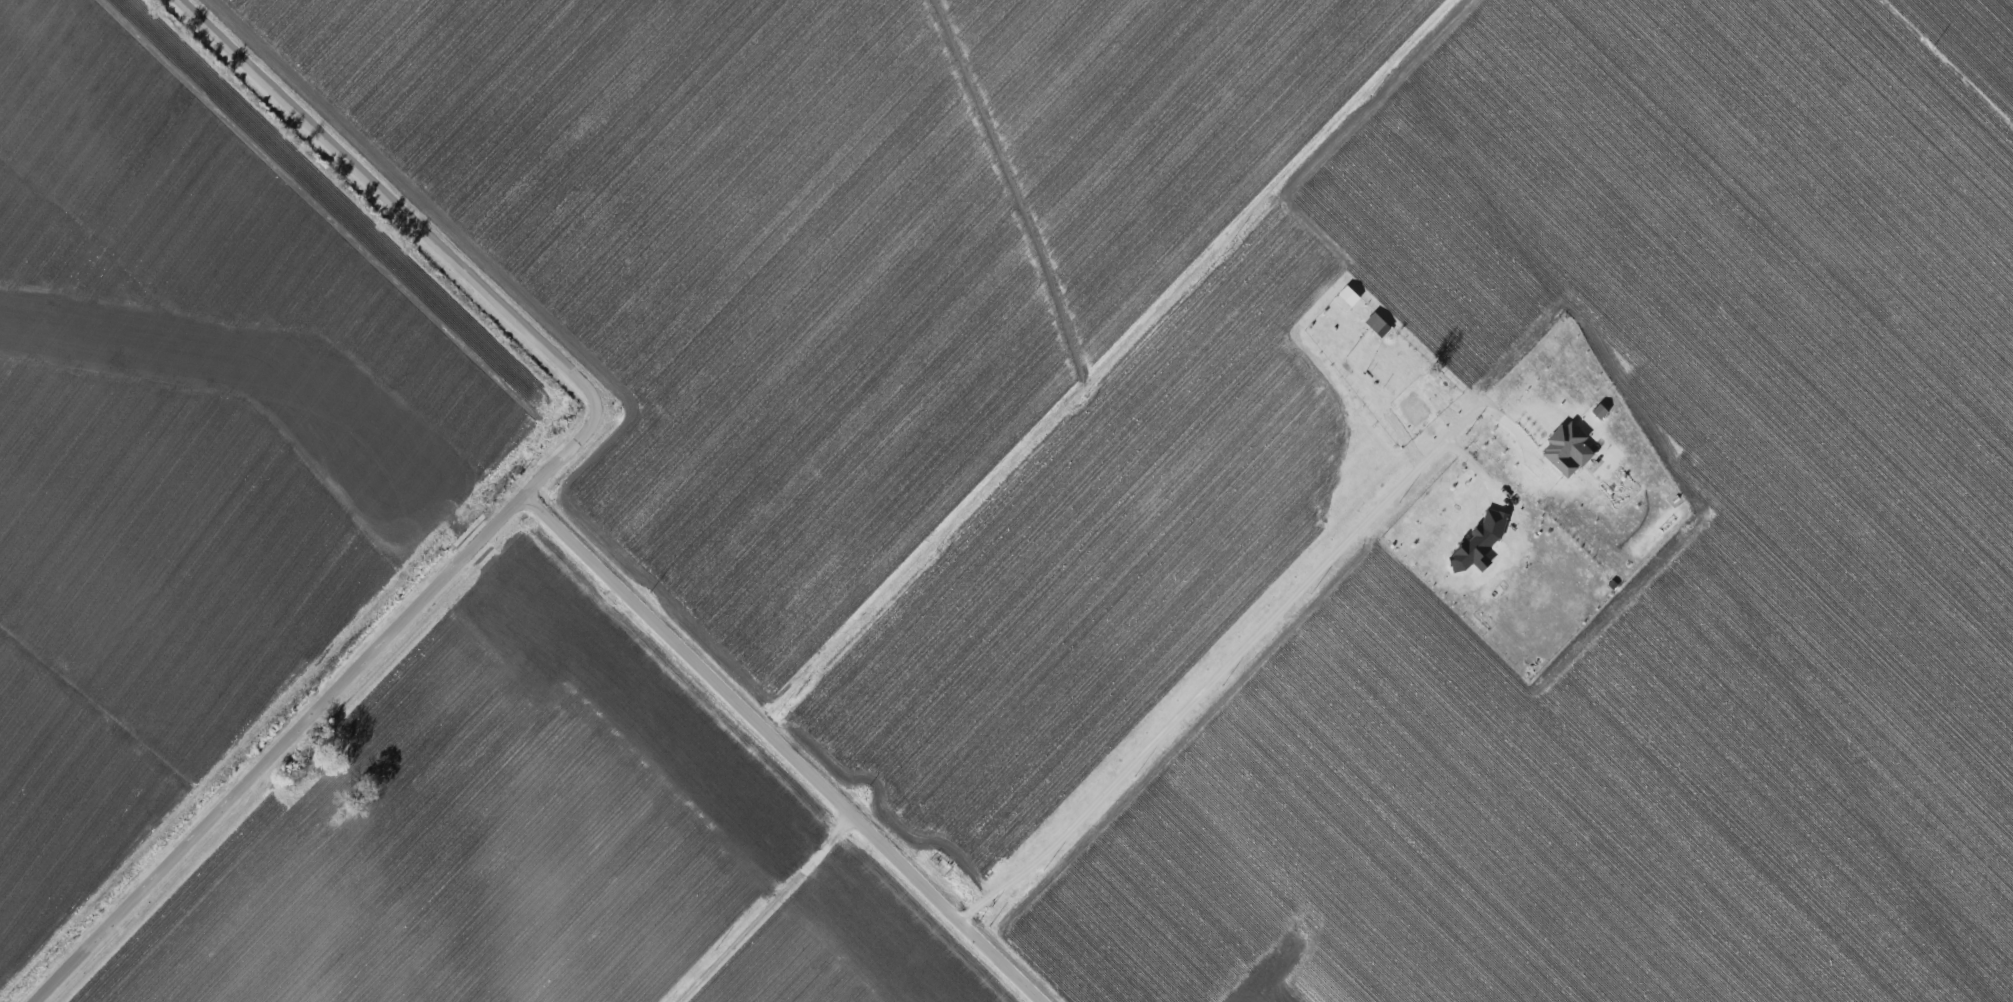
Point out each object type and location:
road: (1948, 64)
building: (1346, 298)
road: (1122, 366)
building: (1567, 448)
road: (524, 496)
building: (1479, 542)
road: (1224, 669)
road: (784, 748)
road: (752, 904)

